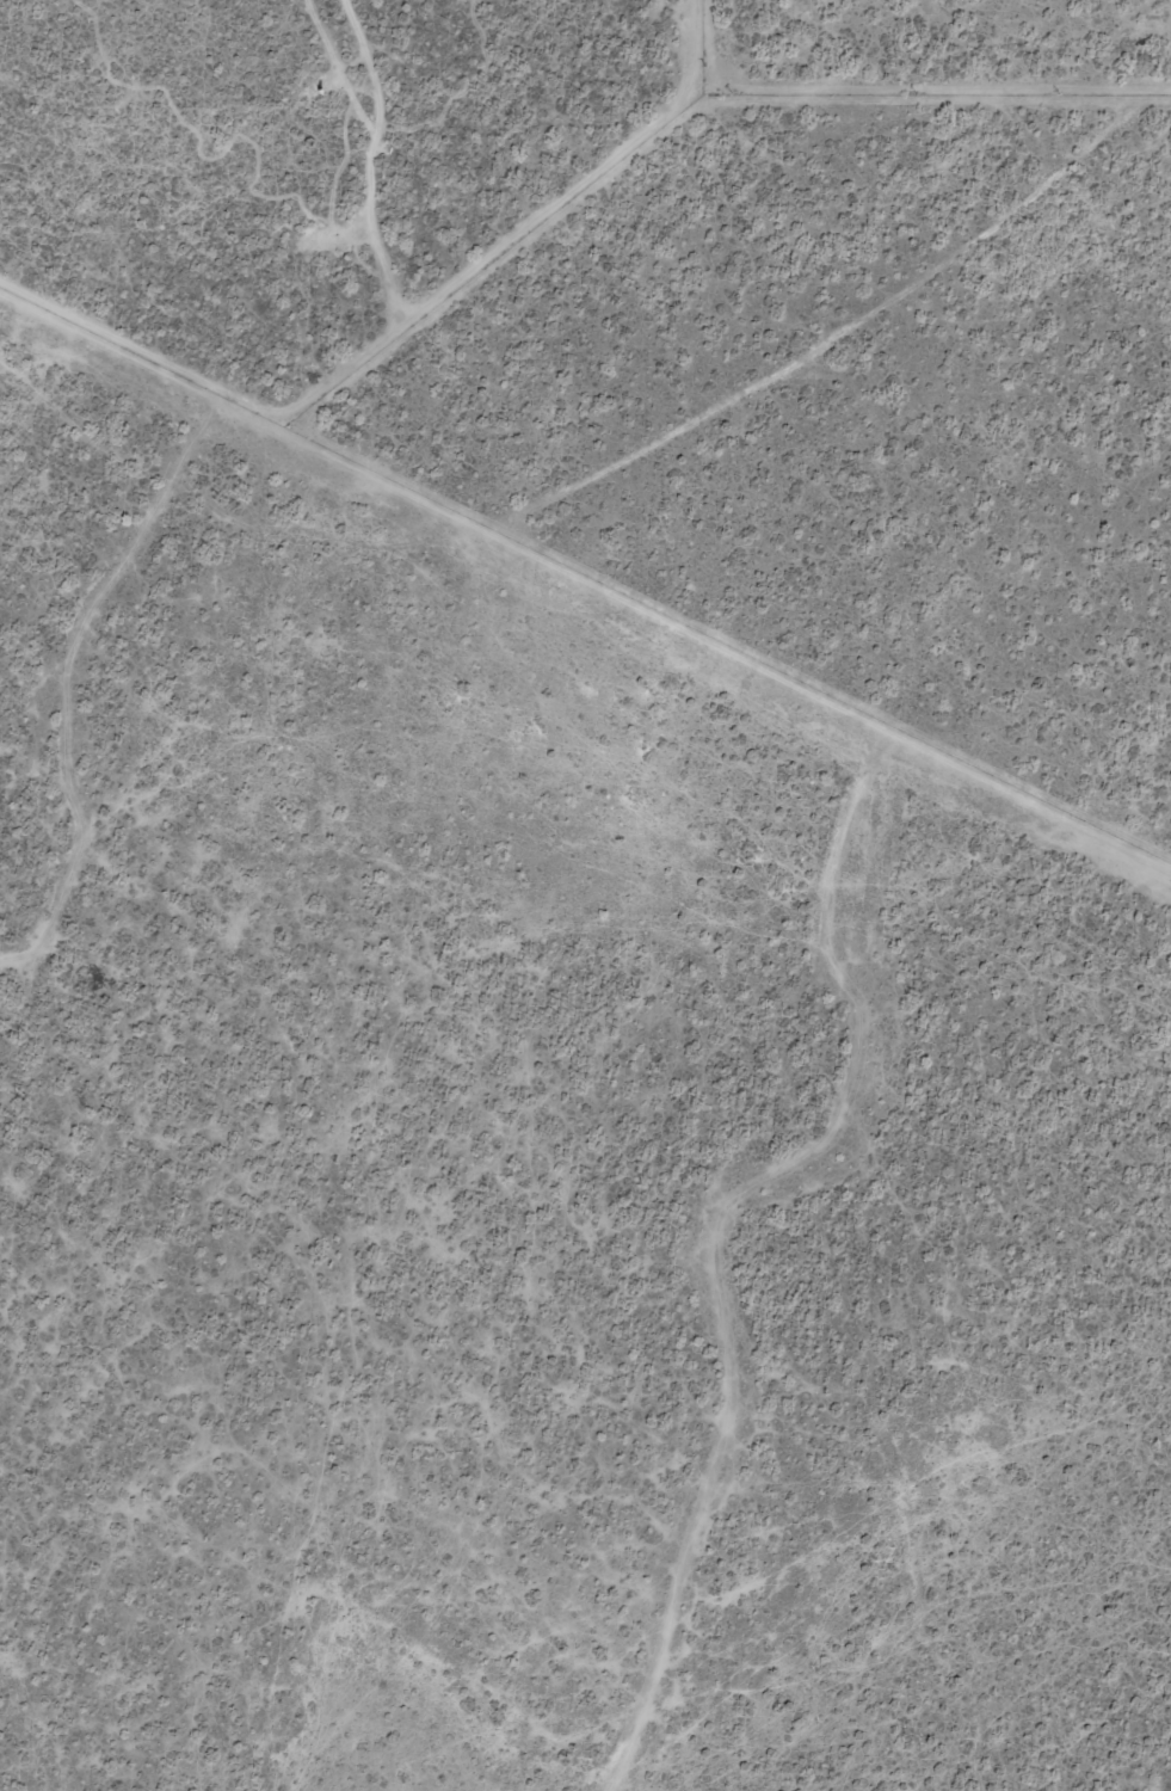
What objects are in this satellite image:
road: (400, 324)
road: (844, 328)
road: (312, 425)

